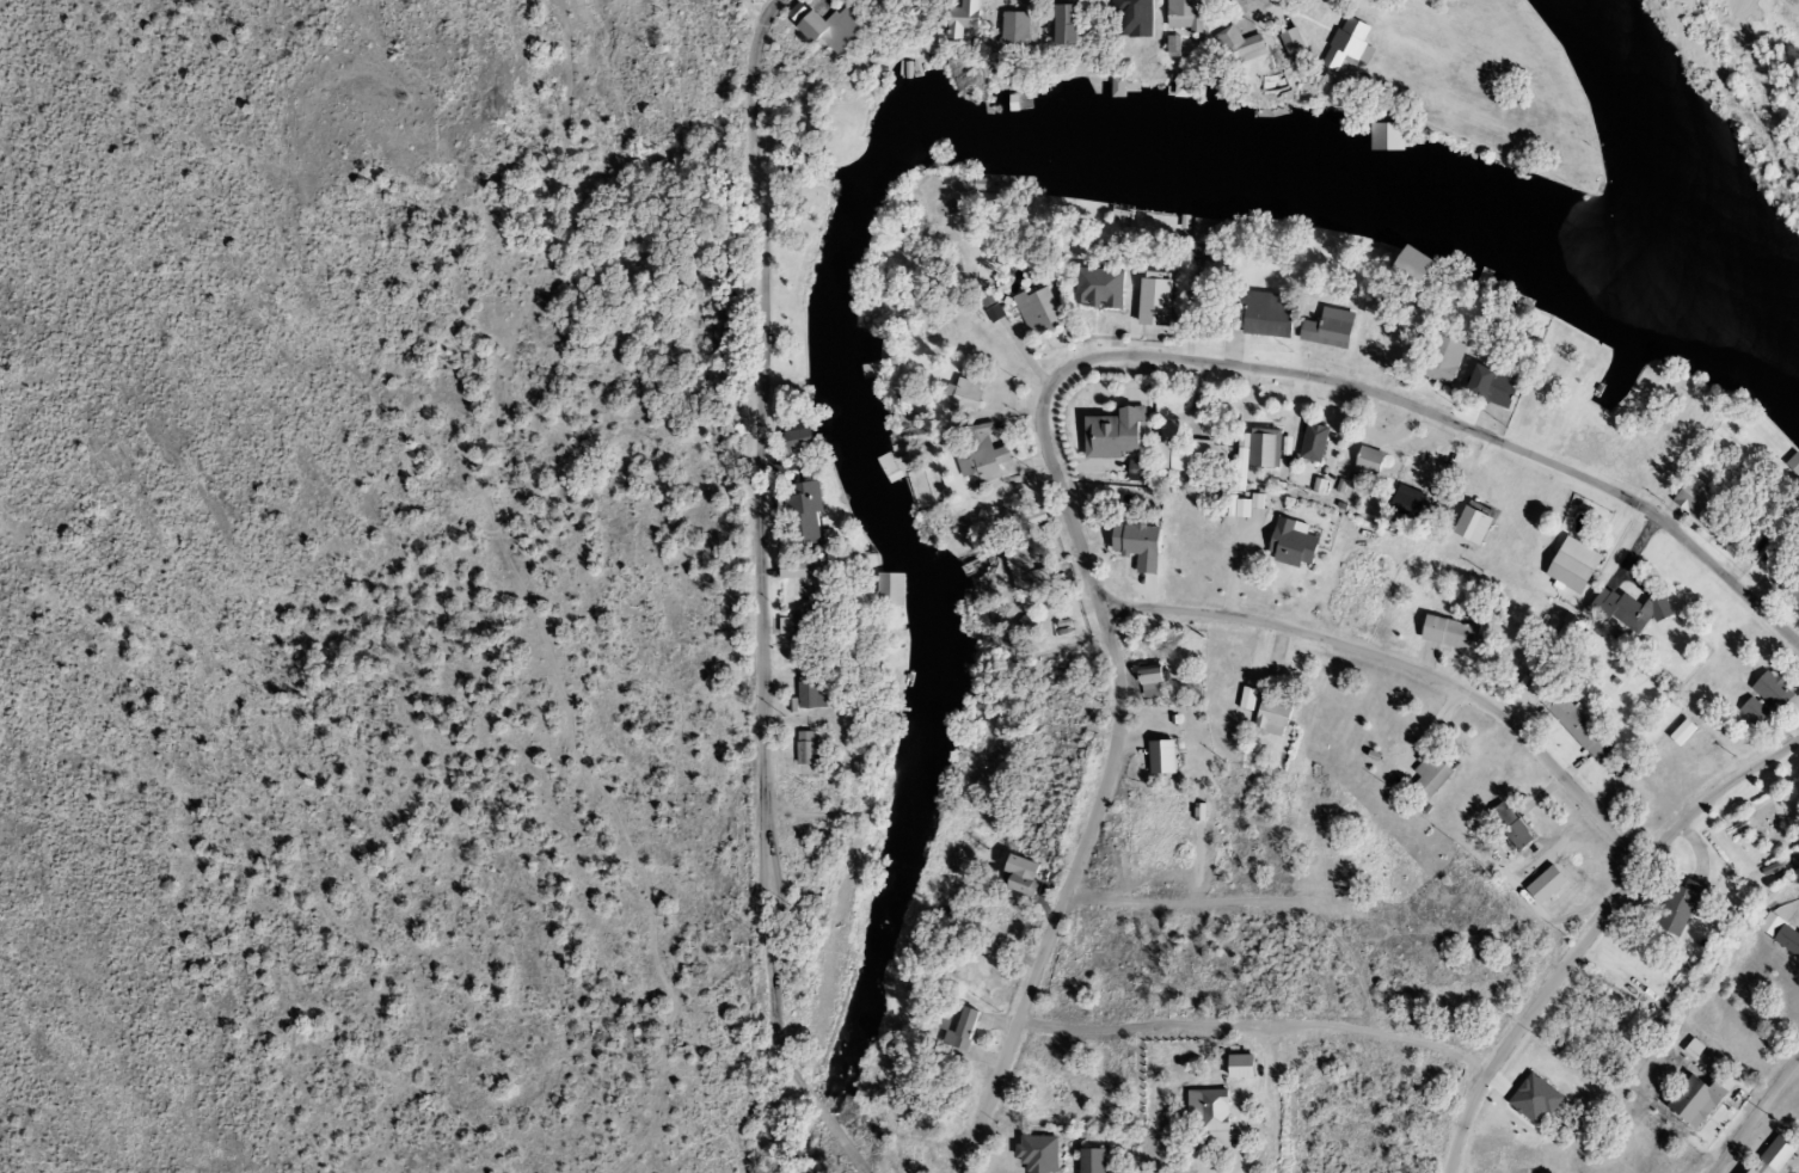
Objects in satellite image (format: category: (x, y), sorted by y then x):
building: (1190, 14)
building: (969, 18)
building: (1073, 24)
building: (1023, 25)
building: (840, 26)
building: (1352, 43)
building: (1296, 44)
building: (1242, 45)
building: (1117, 87)
building: (1275, 102)
building: (1392, 134)
river: (1721, 153)
building: (1123, 213)
building: (1202, 225)
building: (1161, 299)
building: (1042, 312)
building: (1269, 314)
building: (1332, 328)
building: (1437, 360)
road: (1336, 381)
building: (1488, 387)
building: (966, 394)
building: (1122, 434)
building: (805, 438)
building: (1318, 442)
building: (1269, 447)
building: (987, 453)
building: (1202, 456)
building: (1793, 459)
building: (1370, 461)
building: (892, 467)
building: (1697, 505)
building: (1408, 506)
building: (809, 509)
building: (1466, 527)
road: (759, 541)
building: (1297, 543)
building: (1150, 545)
building: (1570, 566)
building: (825, 567)
building: (799, 569)
building: (1037, 570)
building: (891, 588)
building: (1791, 590)
building: (1625, 610)
building: (811, 633)
building: (1444, 633)
road: (1407, 665)
building: (1154, 680)
building: (813, 688)
building: (1768, 692)
building: (1750, 712)
building: (1271, 714)
building: (1568, 723)
building: (810, 748)
building: (1167, 756)
building: (1427, 776)
building: (1512, 836)
building: (1025, 874)
road: (1063, 895)
building: (1674, 907)
road: (1592, 931)
building: (1786, 940)
road: (1257, 1024)
building: (965, 1027)
road: (1754, 1114)
building: (1207, 1116)
road: (831, 1128)
building: (1033, 1153)
building: (1770, 1153)
building: (1088, 1160)
building: (1742, 1171)
road: (865, 1172)

